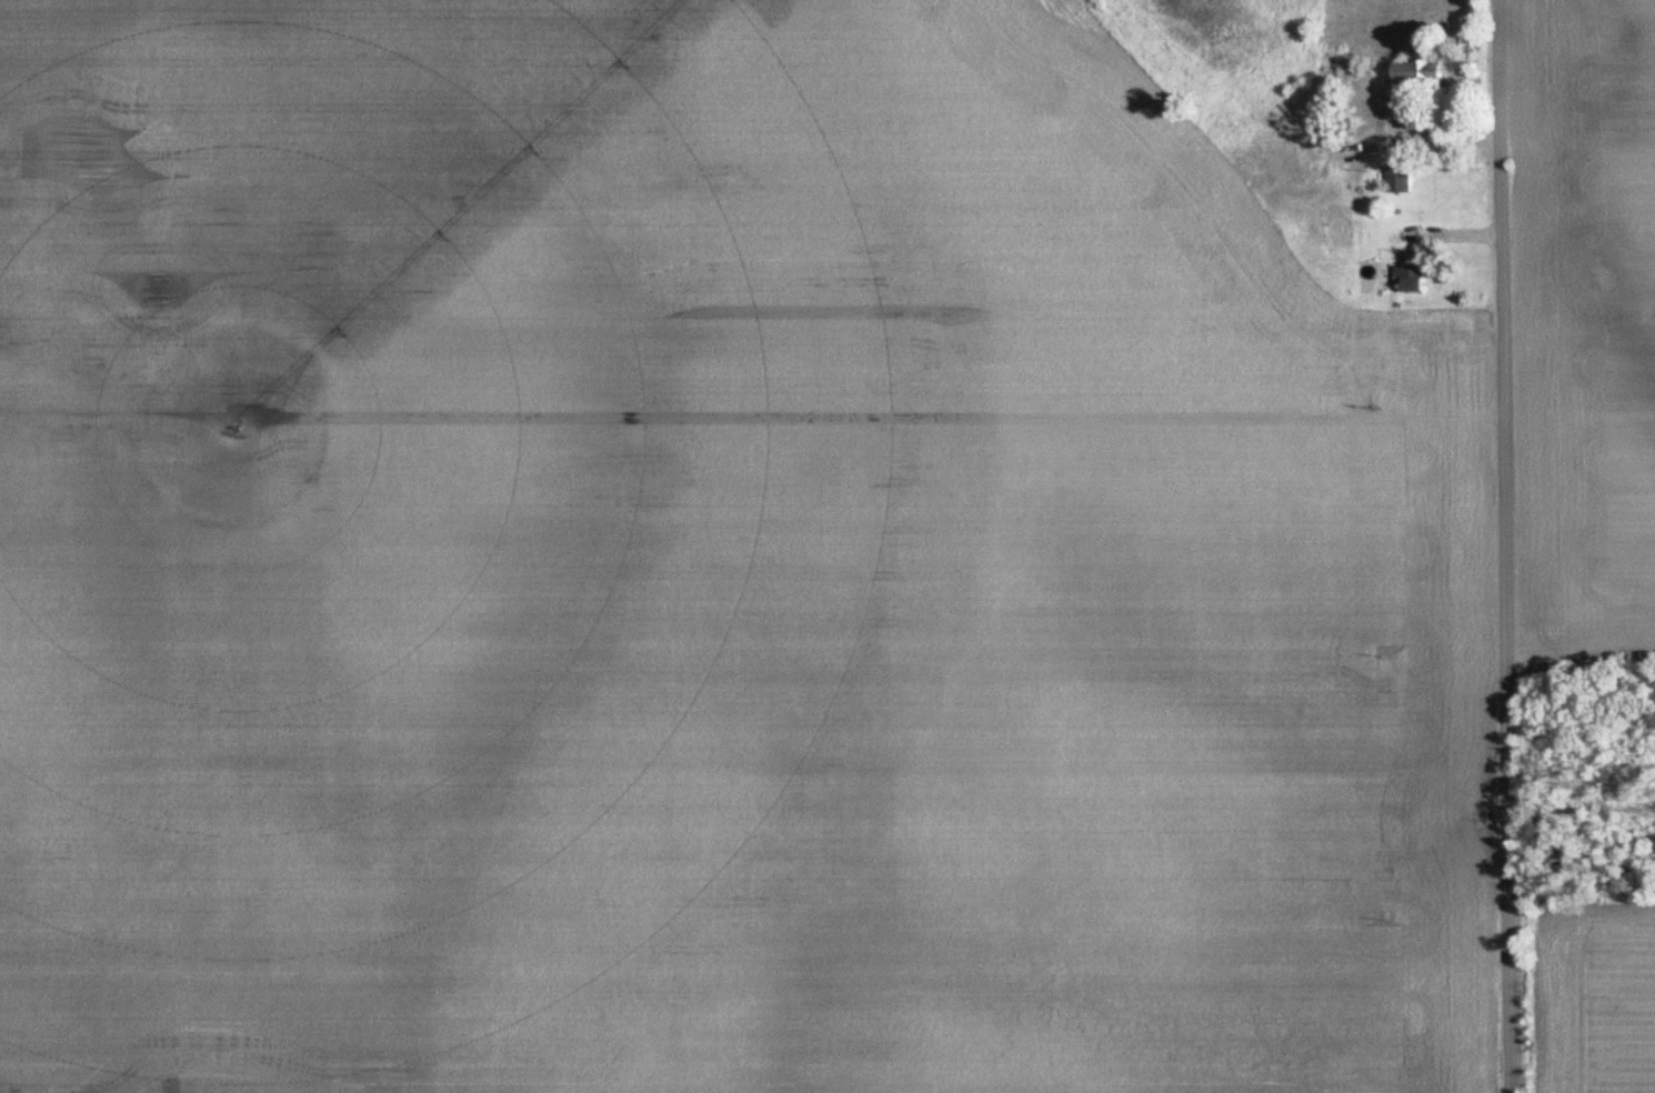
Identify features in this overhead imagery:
road: (314, 41)
building: (1417, 73)
road: (1421, 142)
building: (1400, 181)
building: (1410, 281)
road: (1504, 546)

